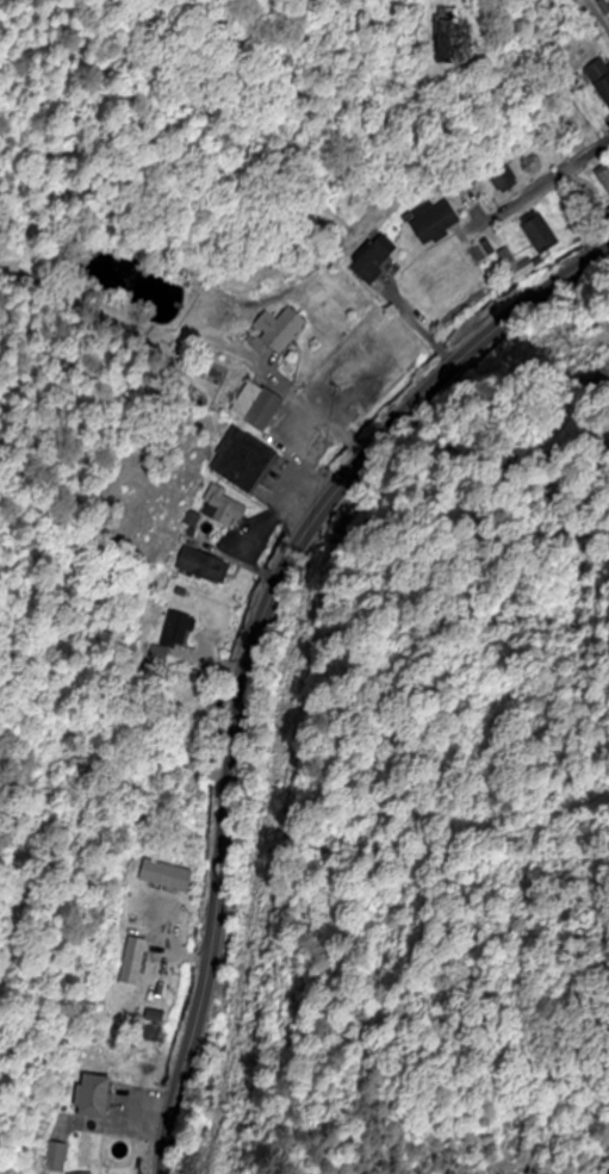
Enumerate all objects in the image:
road: (598, 13)
building: (433, 43)
building: (598, 80)
building: (604, 176)
building: (499, 179)
road: (542, 185)
building: (430, 224)
building: (539, 234)
building: (371, 259)
building: (515, 266)
building: (275, 330)
building: (255, 408)
building: (240, 462)
building: (203, 567)
road: (255, 644)
building: (154, 877)
building: (155, 984)
building: (89, 1098)

